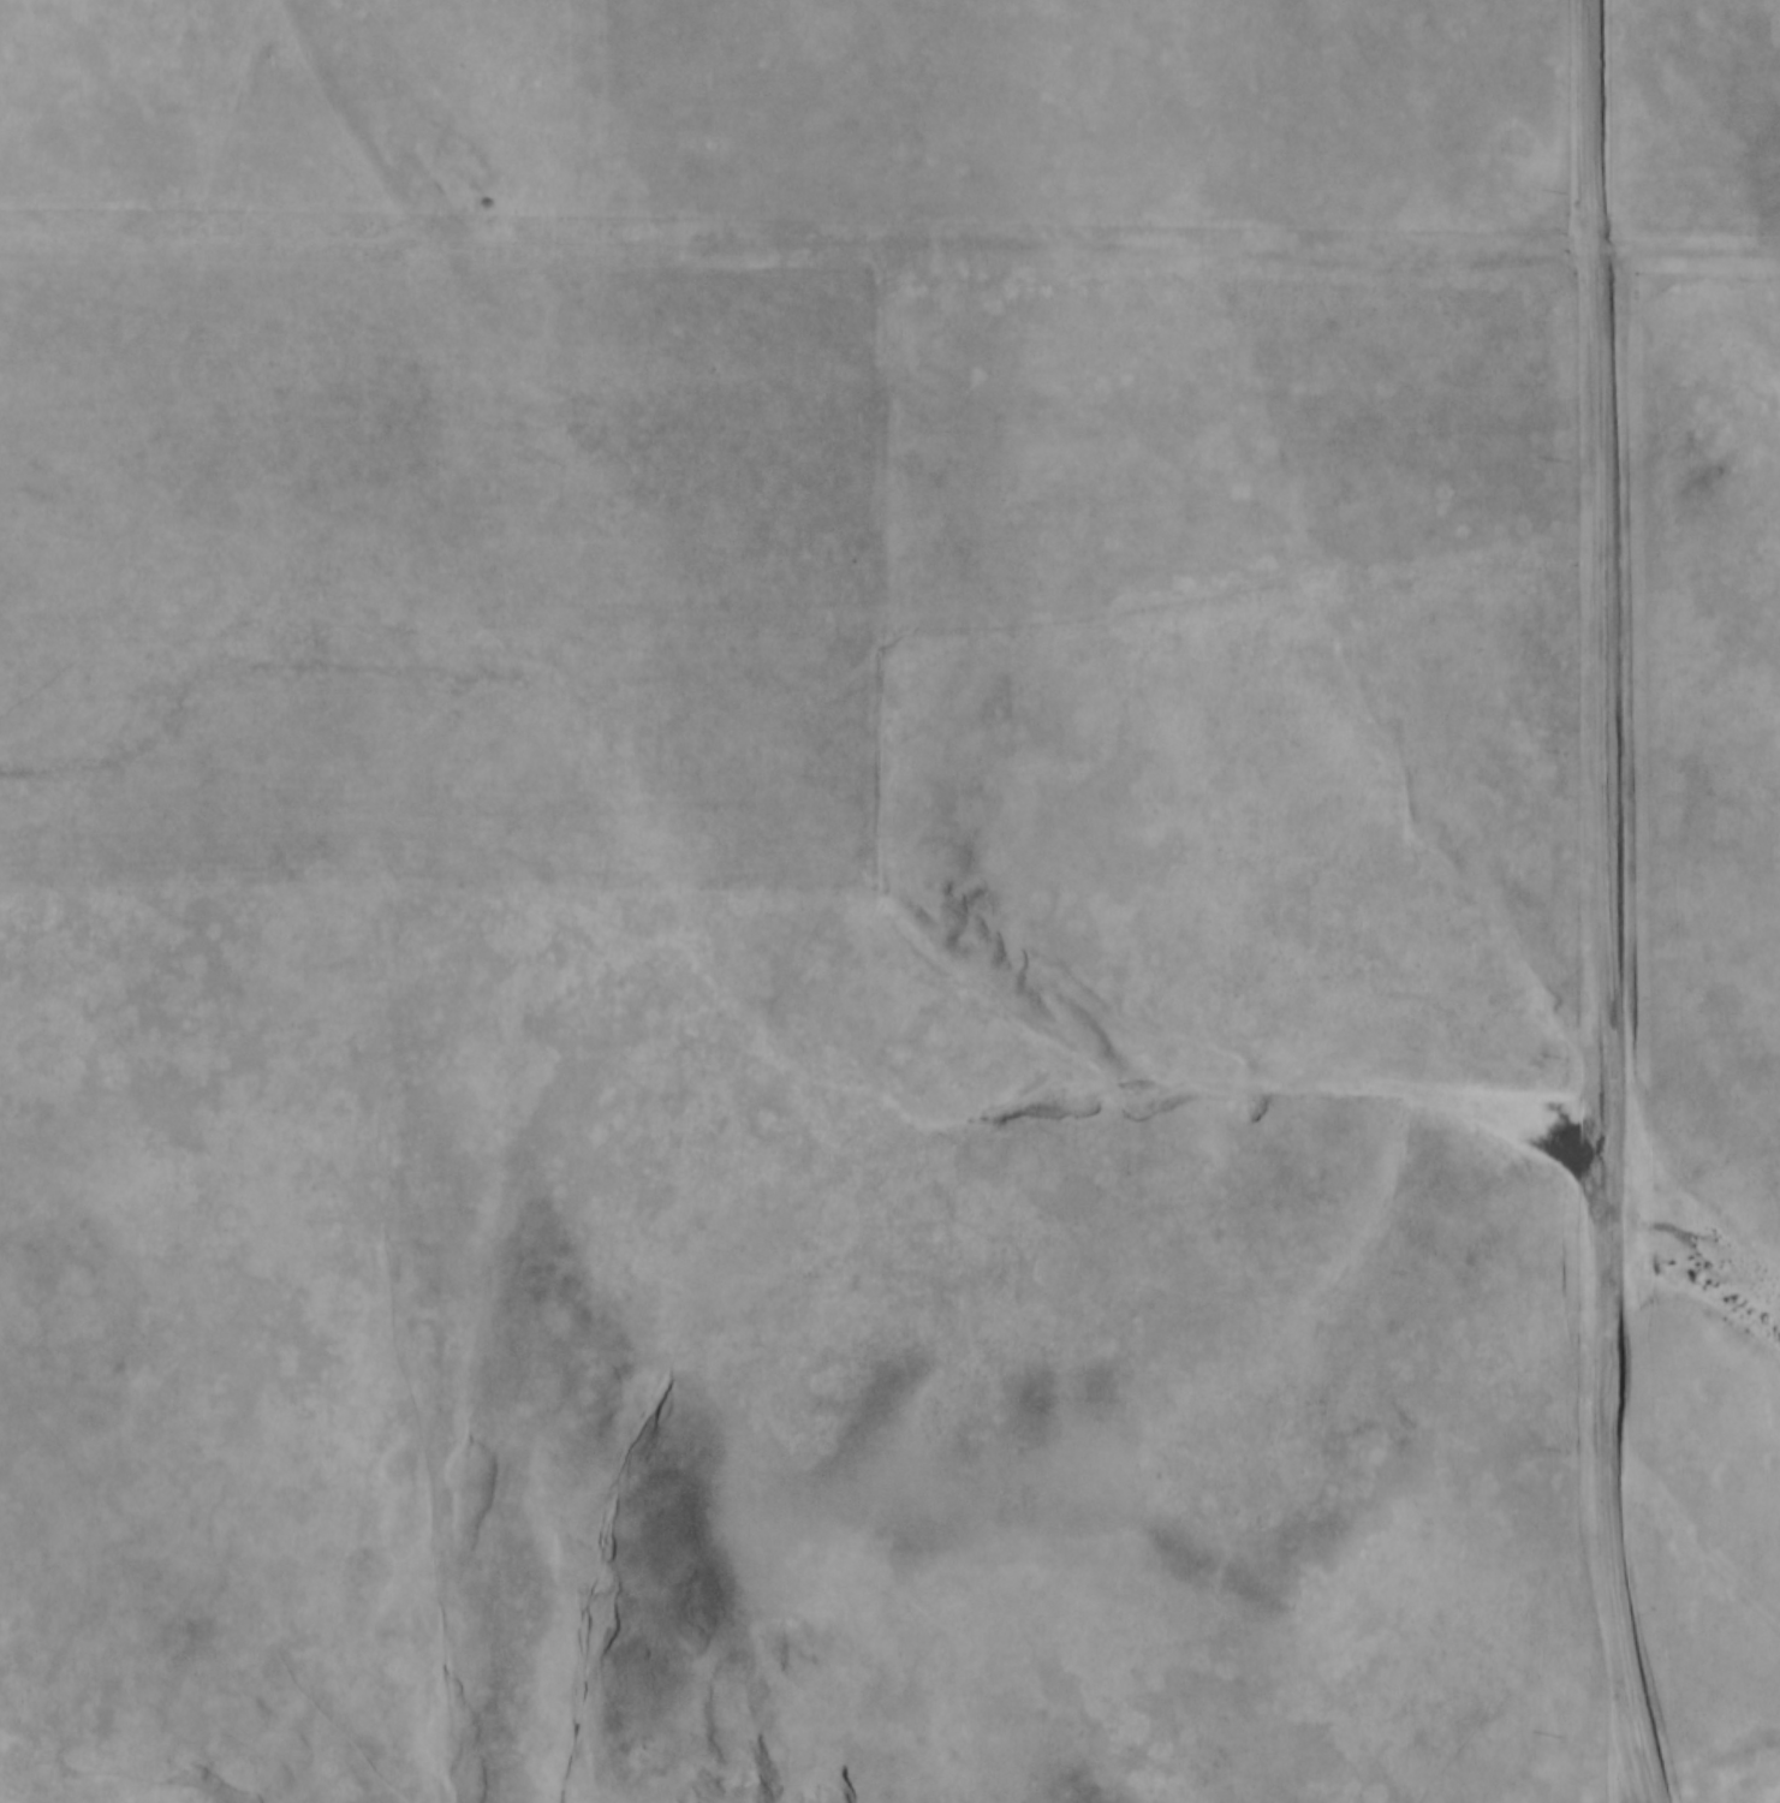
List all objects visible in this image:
road: (1689, 252)
road: (1612, 903)

